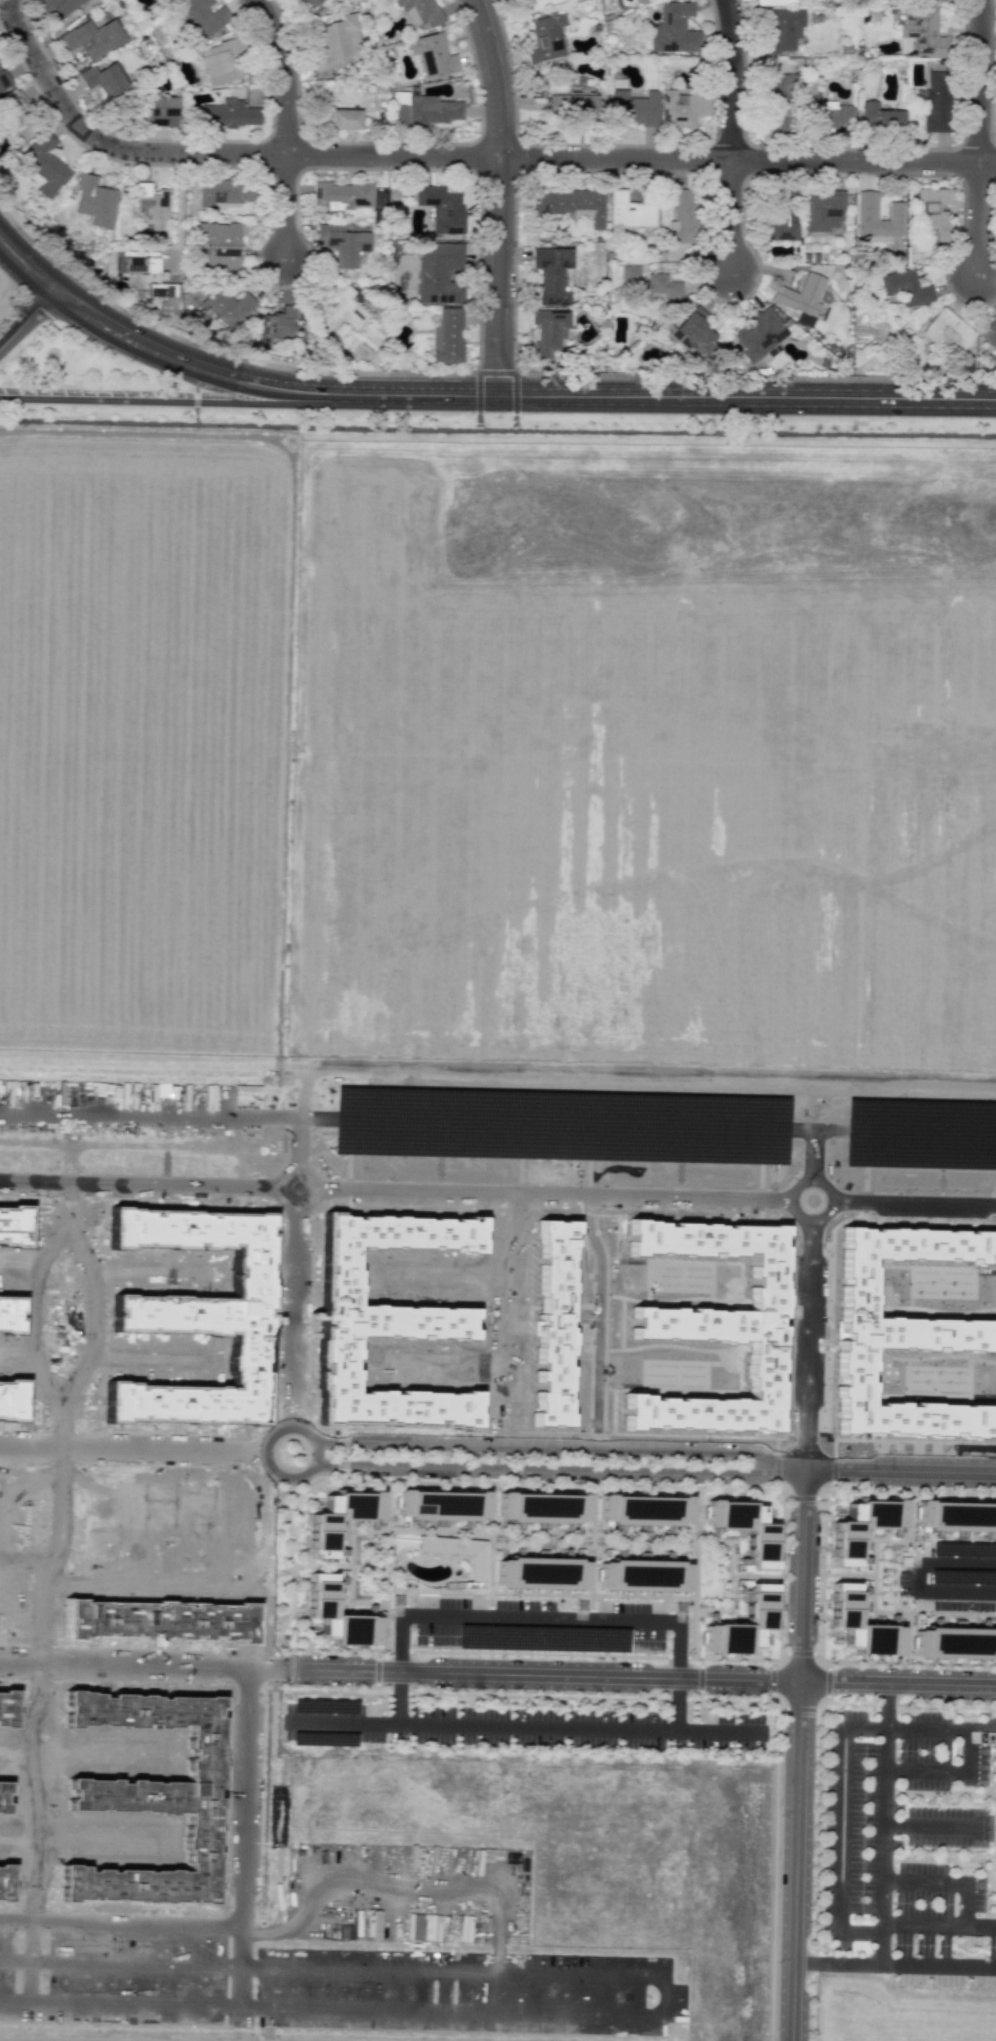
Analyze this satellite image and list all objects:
building: (301, 1)
building: (774, 2)
street lamp: (741, 5)
building: (56, 6)
building: (420, 12)
building: (203, 17)
street lamp: (24, 18)
street lamp: (463, 25)
building: (673, 30)
building: (782, 30)
road: (8, 32)
building: (920, 33)
building: (92, 37)
building: (546, 37)
building: (333, 42)
building: (432, 55)
building: (221, 60)
road: (284, 72)
road: (494, 76)
building: (4, 78)
building: (103, 78)
road: (730, 79)
road: (978, 80)
building: (777, 100)
building: (936, 101)
building: (577, 105)
building: (632, 108)
building: (681, 109)
building: (430, 110)
building: (160, 111)
building: (228, 113)
building: (826, 113)
building: (878, 117)
building: (338, 118)
road: (212, 153)
road: (747, 159)
building: (43, 164)
street lamp: (312, 170)
street lamp: (465, 172)
street lamp: (854, 176)
building: (223, 194)
building: (343, 195)
building: (94, 200)
building: (572, 203)
road: (286, 206)
building: (151, 207)
building: (441, 208)
building: (866, 209)
building: (933, 210)
building: (629, 211)
building: (823, 211)
road: (177, 212)
road: (729, 216)
building: (681, 217)
road: (976, 218)
building: (344, 241)
building: (219, 244)
building: (138, 262)
road: (26, 266)
building: (438, 272)
building: (551, 274)
road: (497, 275)
building: (905, 285)
building: (649, 286)
building: (161, 290)
building: (800, 293)
street lamp: (18, 305)
building: (224, 306)
building: (338, 309)
road: (26, 318)
building: (804, 319)
building: (277, 325)
building: (693, 331)
building: (948, 331)
building: (548, 332)
building: (759, 333)
building: (989, 333)
building: (447, 336)
building: (994, 359)
street lamp: (130, 360)
road: (185, 362)
road: (665, 396)
road: (196, 398)
road: (168, 400)
street lamp: (496, 416)
road: (478, 421)
road: (515, 421)
road: (497, 429)
road: (283, 897)
road: (134, 1111)
road: (300, 1115)
road: (560, 1120)
road: (815, 1125)
road: (920, 1127)
road: (297, 1140)
road: (814, 1150)
road: (317, 1183)
road: (139, 1184)
road: (556, 1191)
road: (914, 1200)
road: (814, 1214)
road: (500, 1302)
road: (293, 1315)
road: (601, 1325)
road: (809, 1341)
road: (560, 1449)
road: (132, 1450)
road: (342, 1454)
road: (502, 1454)
road: (496, 1456)
road: (264, 1459)
road: (705, 1459)
road: (702, 1461)
road: (776, 1466)
road: (560, 1468)
road: (834, 1469)
road: (901, 1470)
road: (493, 1475)
road: (697, 1477)
street lamp: (824, 1486)
road: (689, 1488)
road: (825, 1489)
road: (783, 1490)
road: (805, 1498)
building: (440, 1505)
building: (542, 1507)
building: (643, 1508)
building: (956, 1515)
road: (907, 1516)
road: (387, 1524)
building: (746, 1528)
road: (611, 1534)
road: (60, 1539)
building: (321, 1539)
road: (901, 1541)
building: (845, 1545)
road: (352, 1549)
road: (491, 1550)
road: (592, 1551)
road: (321, 1565)
road: (366, 1565)
building: (477, 1567)
road: (695, 1570)
building: (540, 1572)
road: (849, 1574)
building: (642, 1575)
road: (756, 1575)
road: (803, 1575)
road: (380, 1576)
road: (823, 1577)
road: (920, 1577)
parking lot: (951, 1580)
road: (540, 1592)
building: (321, 1593)
road: (385, 1594)
road: (368, 1601)
building: (843, 1603)
building: (761, 1604)
road: (935, 1612)
road: (541, 1617)
parking lot: (540, 1624)
road: (384, 1626)
building: (544, 1637)
road: (906, 1637)
building: (954, 1642)
street lamp: (688, 1651)
road: (800, 1653)
road: (378, 1654)
road: (779, 1659)
street lamp: (667, 1660)
road: (821, 1660)
road: (701, 1662)
road: (275, 1667)
road: (378, 1670)
road: (400, 1672)
road: (700, 1678)
road: (772, 1680)
road: (828, 1681)
road: (898, 1683)
road: (377, 1686)
road: (665, 1698)
road: (821, 1701)
road: (778, 1702)
road: (383, 1707)
road: (801, 1709)
road: (699, 1710)
road: (345, 1721)
parking lot: (525, 1726)
road: (538, 1727)
road: (846, 1729)
road: (719, 1731)
road: (818, 1783)
road: (940, 1793)
road: (931, 1826)
parking lot: (863, 1855)
road: (994, 1859)
road: (796, 1860)
road: (939, 1860)
road: (884, 1867)
road: (964, 1904)
road: (242, 1920)
road: (979, 1925)
road: (500, 1934)
road: (32, 1952)
road: (938, 1964)
road: (143, 1975)
road: (32, 1995)
road: (242, 2000)
parking lot: (367, 2022)
road: (433, 2029)

